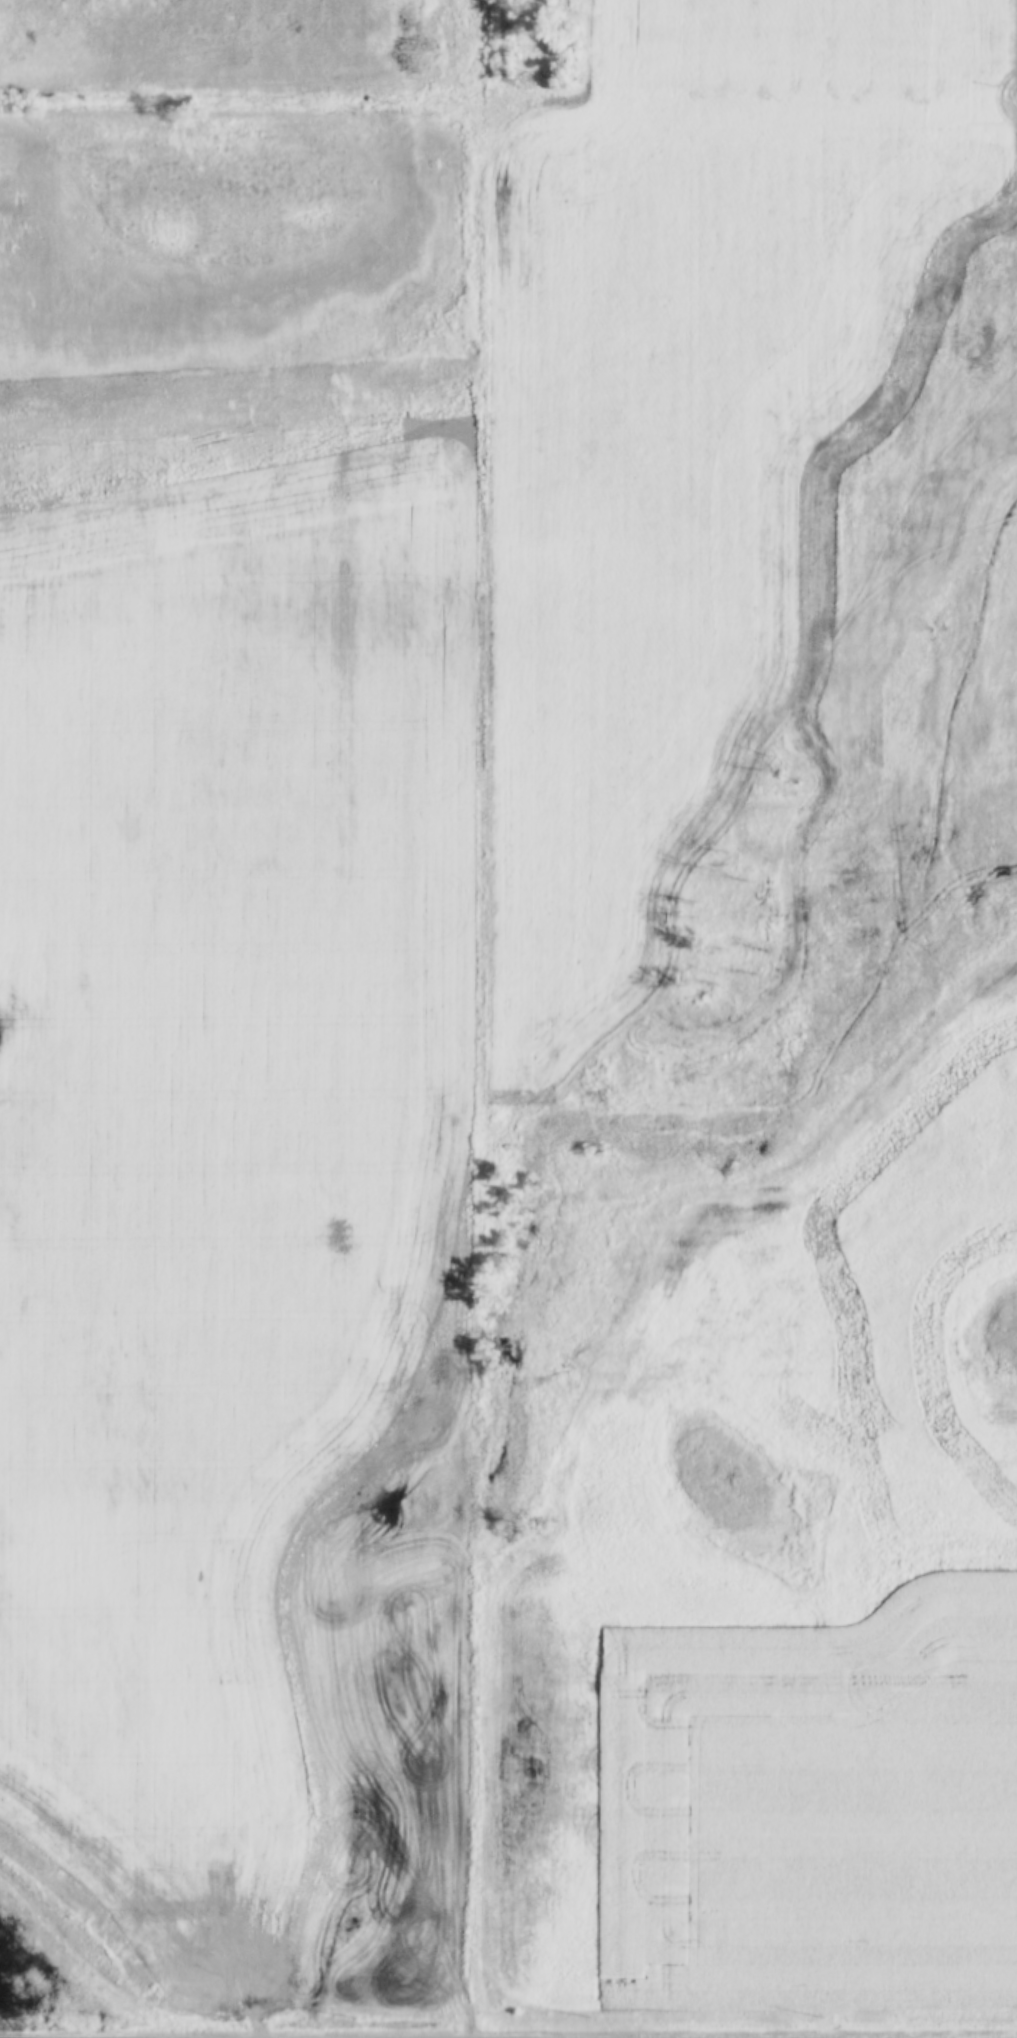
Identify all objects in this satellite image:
crop: (810, 33)
crop: (454, 50)
crop: (224, 1105)
road: (315, 1931)

